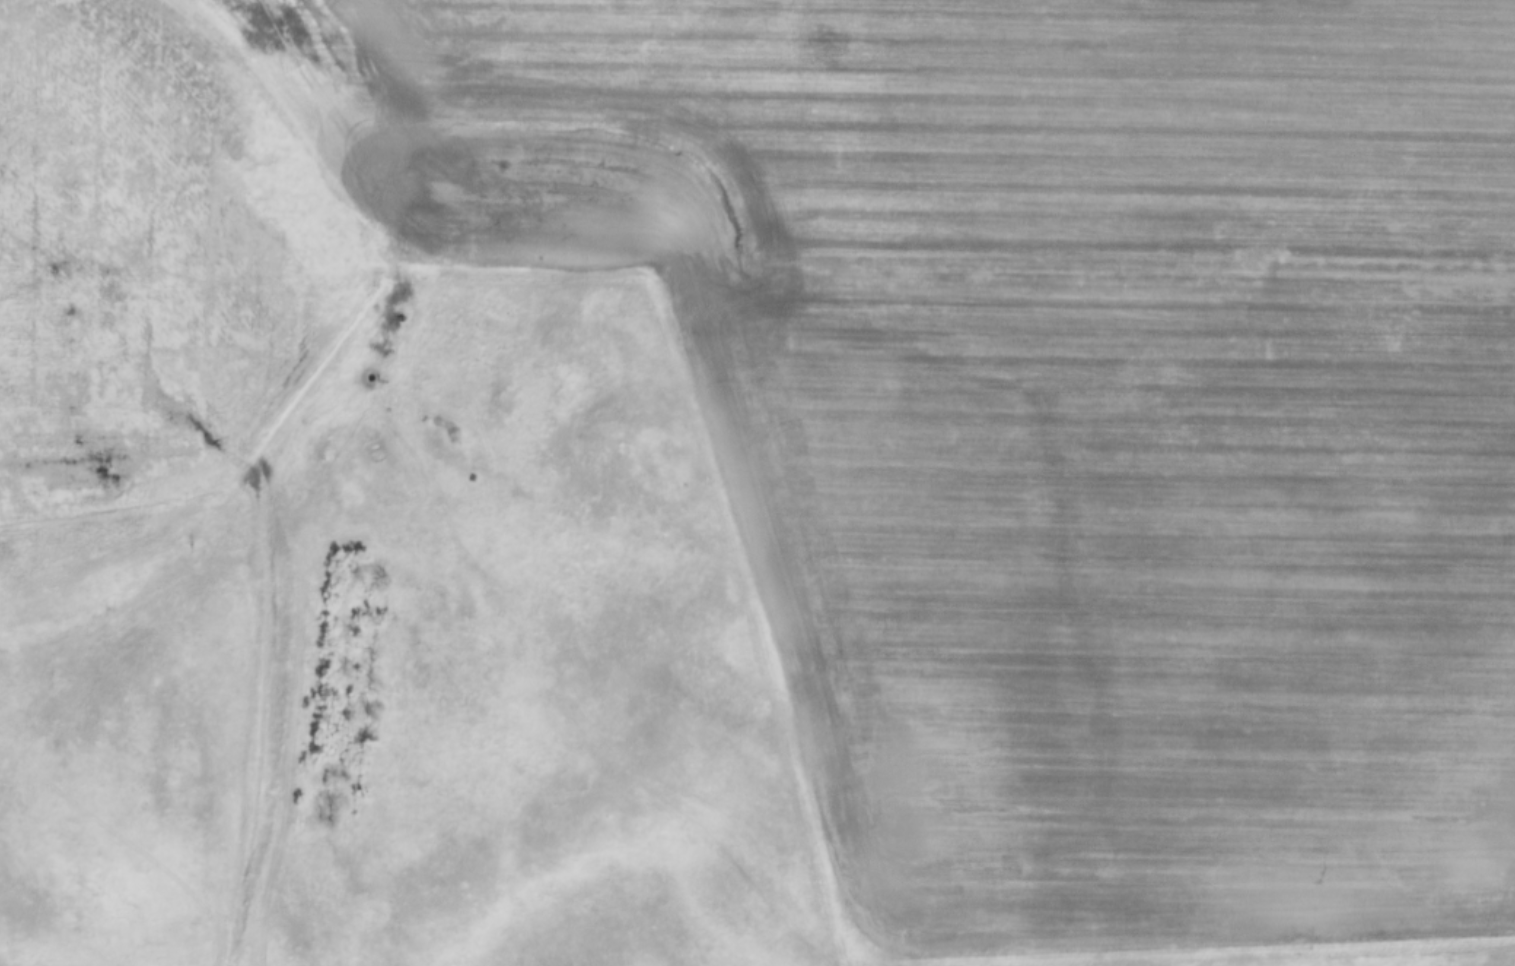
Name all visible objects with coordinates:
road: (327, 186)

